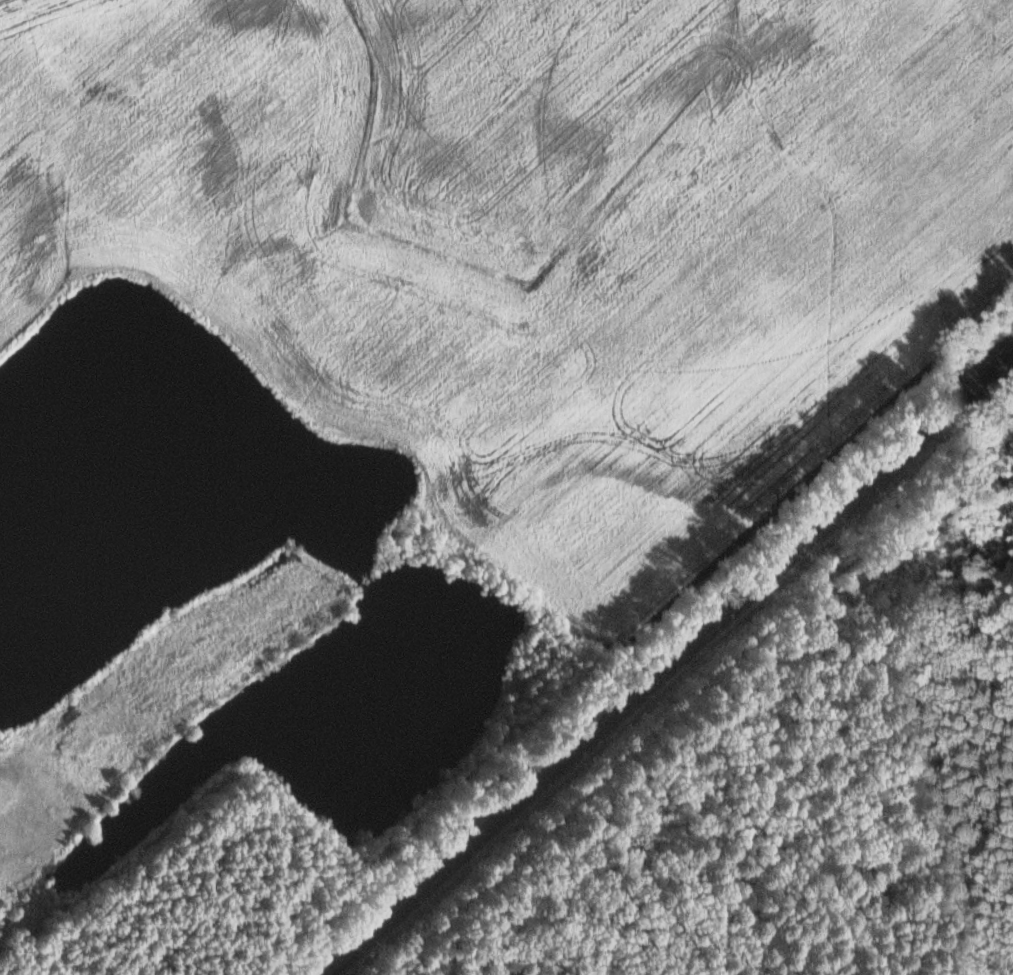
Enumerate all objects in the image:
railway: (670, 662)

